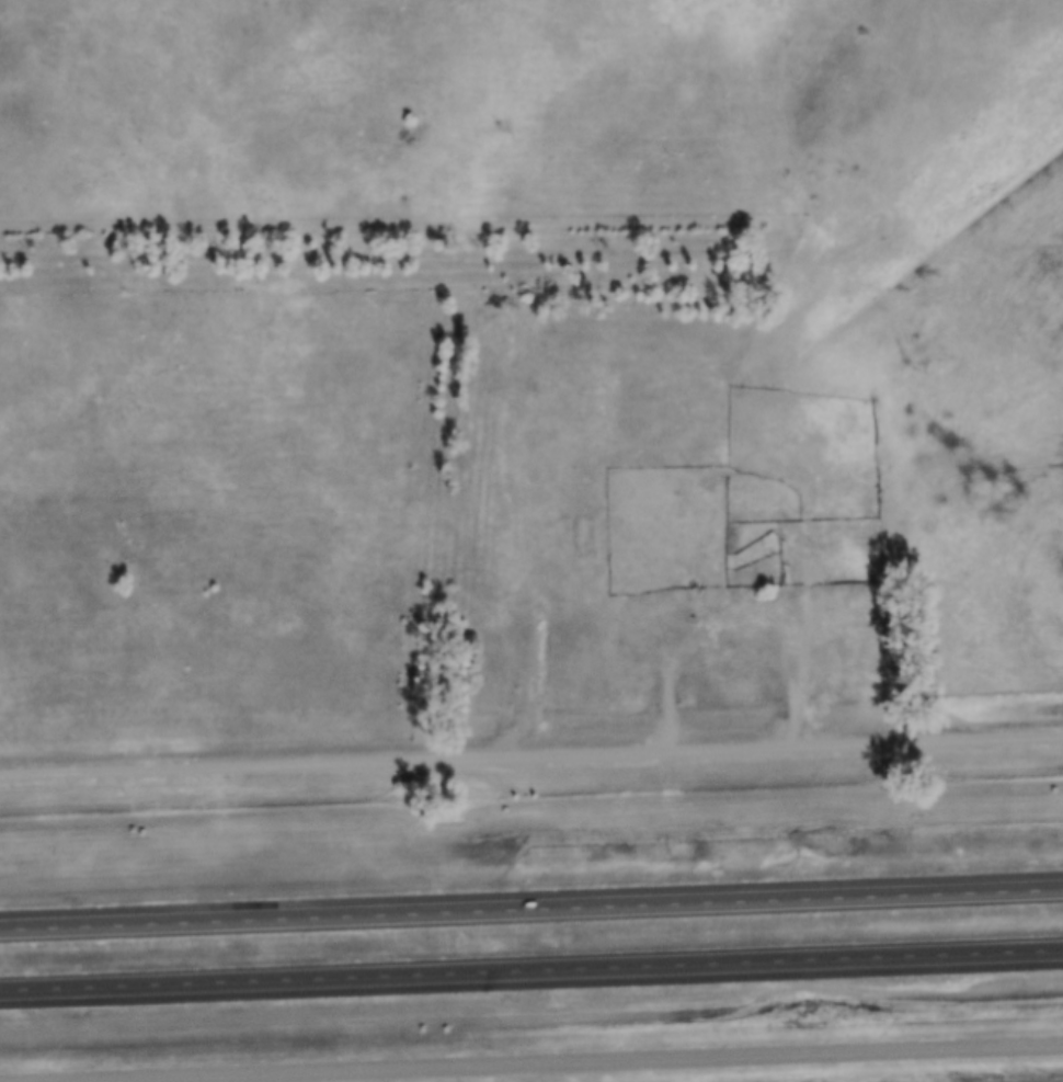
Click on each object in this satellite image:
road: (675, 676)
road: (530, 758)
road: (531, 912)
road: (531, 972)
road: (596, 1063)
road: (591, 1073)

